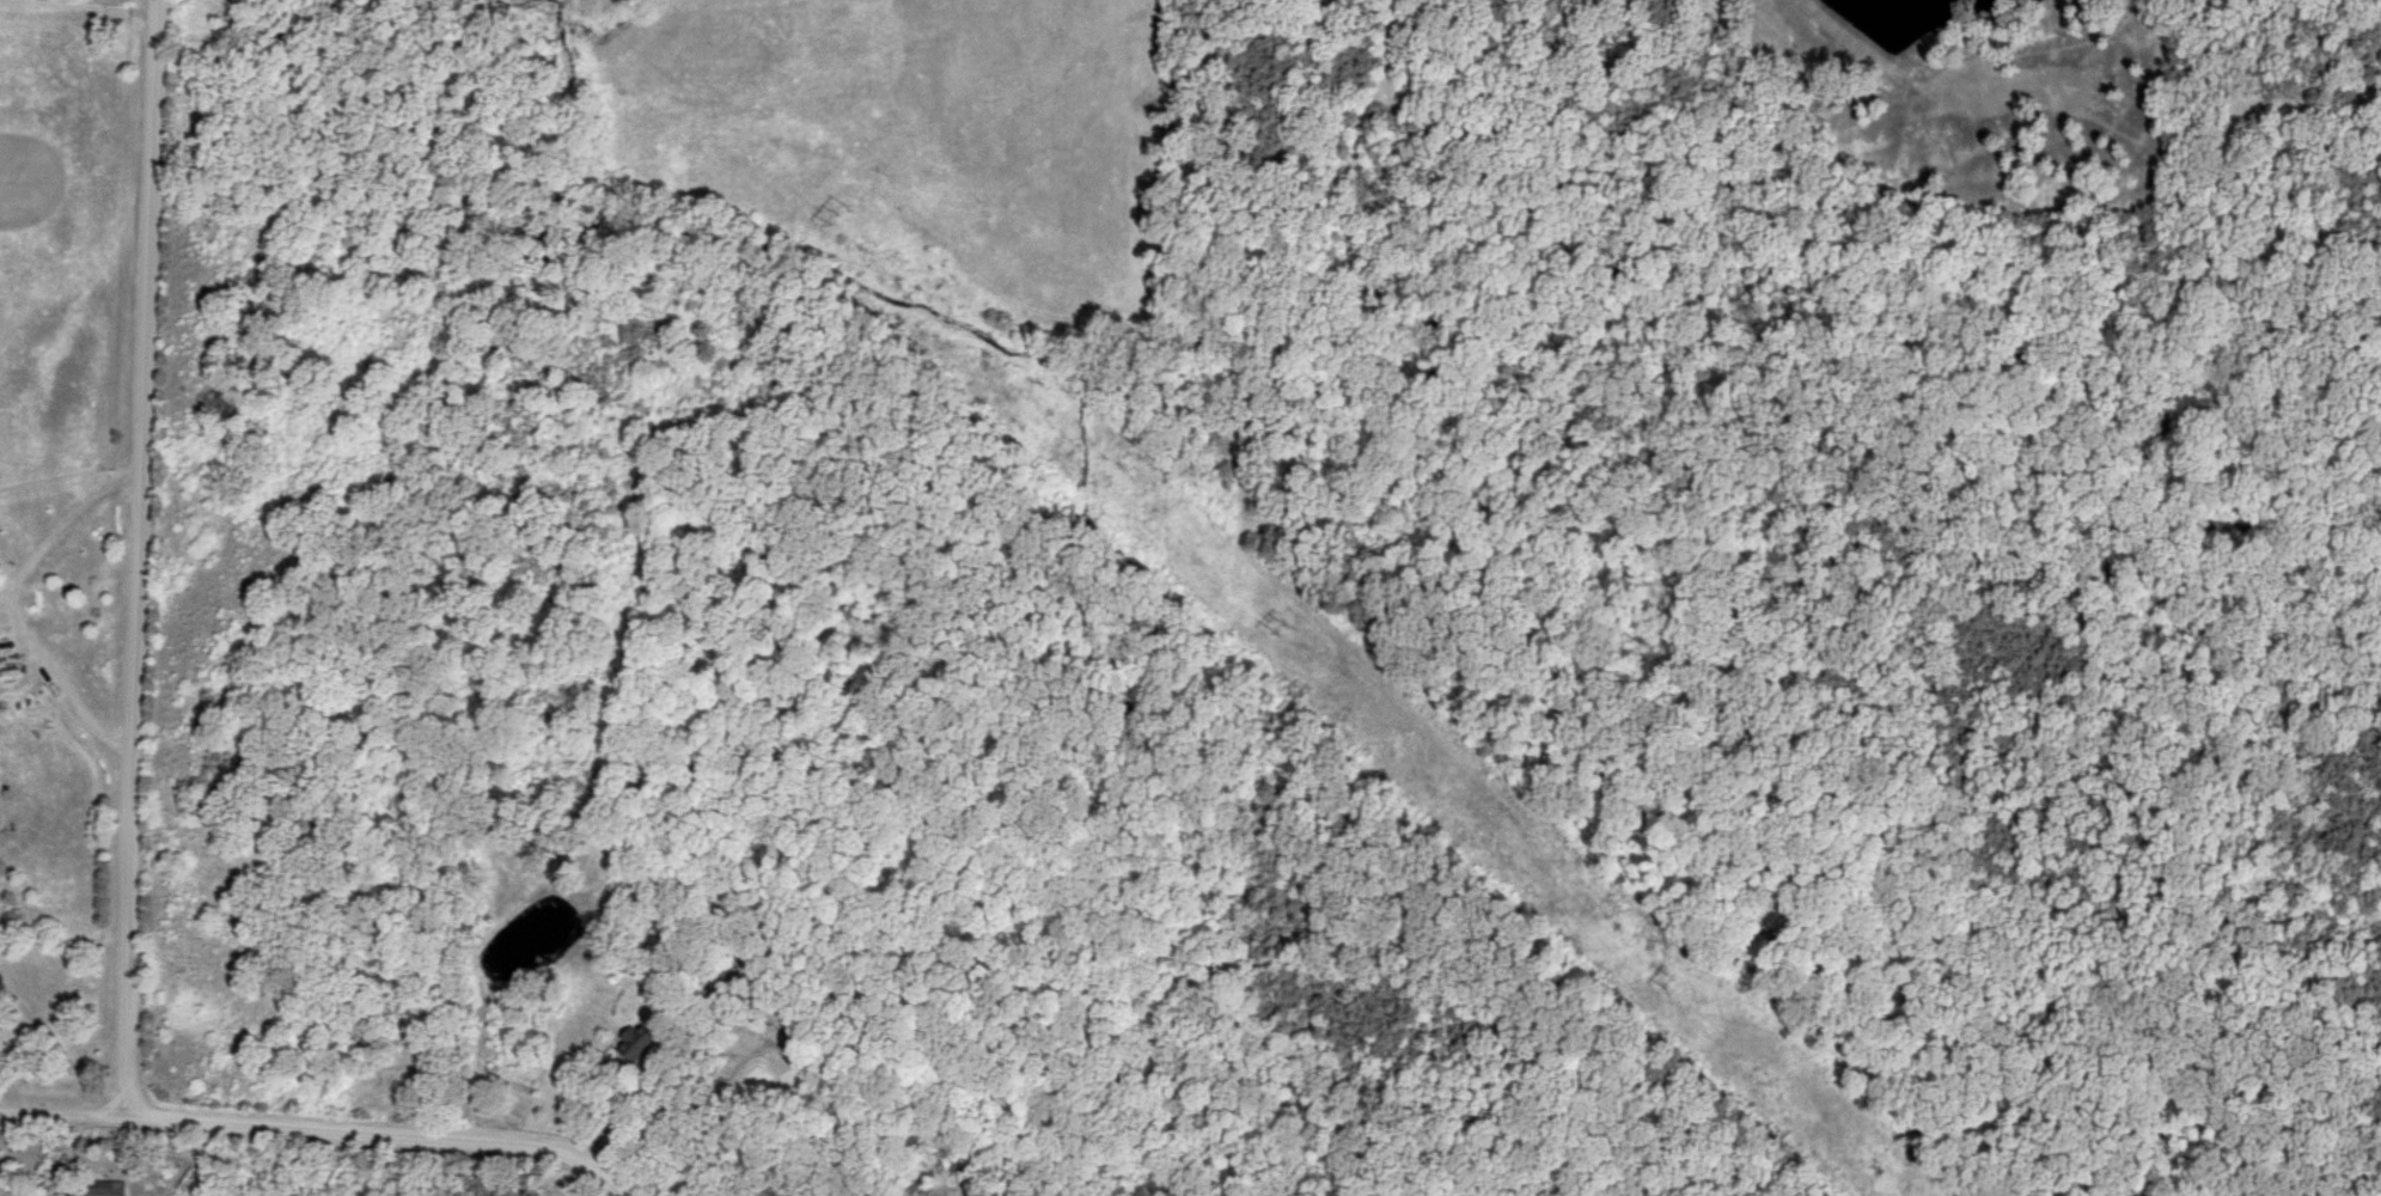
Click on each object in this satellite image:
power tower: (835, 215)
road: (136, 559)
road: (7, 602)
power tower: (1280, 628)
building: (719, 978)
power tower: (1668, 983)
building: (633, 1043)
road: (628, 1096)
road: (320, 1131)
building: (99, 1190)

